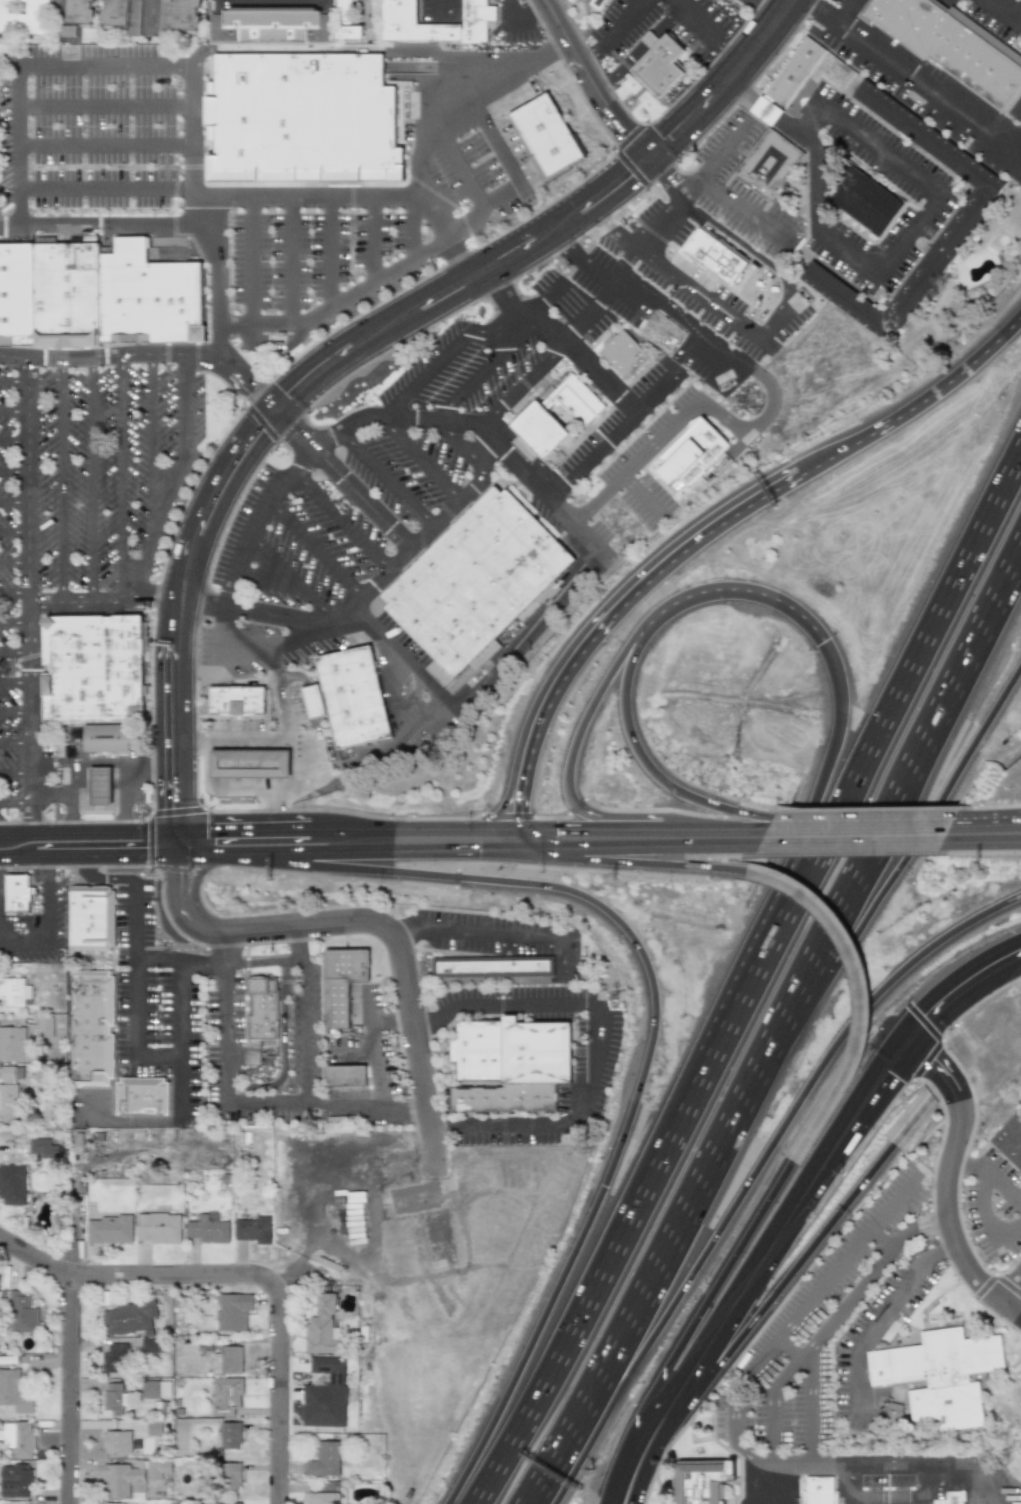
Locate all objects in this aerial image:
road: (274, 0)
building: (602, 4)
road: (523, 8)
road: (1001, 9)
building: (78, 11)
road: (766, 11)
road: (841, 11)
building: (120, 12)
road: (145, 13)
building: (23, 16)
building: (185, 16)
road: (437, 16)
road: (1019, 16)
road: (697, 17)
building: (345, 22)
building: (398, 22)
building: (274, 28)
road: (516, 28)
road: (613, 33)
building: (649, 39)
building: (952, 48)
road: (109, 65)
building: (666, 71)
road: (912, 79)
road: (593, 82)
road: (727, 83)
building: (789, 83)
road: (460, 92)
road: (739, 92)
road: (109, 97)
road: (764, 109)
building: (304, 119)
parking lot: (108, 127)
road: (109, 128)
road: (493, 131)
traffic signals: (627, 132)
building: (547, 135)
traffic signals: (673, 138)
road: (20, 145)
road: (723, 151)
road: (110, 160)
building: (772, 167)
road: (458, 169)
road: (664, 172)
traffic signals: (628, 177)
road: (686, 182)
road: (674, 192)
road: (110, 193)
road: (359, 200)
road: (731, 204)
building: (870, 204)
parking lot: (1, 221)
building: (961, 222)
road: (103, 227)
road: (412, 230)
parking lot: (357, 231)
road: (616, 233)
road: (384, 237)
road: (732, 242)
road: (900, 244)
road: (352, 247)
road: (564, 247)
building: (712, 254)
road: (320, 256)
road: (286, 262)
road: (255, 263)
road: (379, 279)
road: (699, 297)
building: (70, 298)
road: (543, 298)
building: (18, 299)
building: (152, 301)
road: (661, 303)
road: (773, 311)
road: (518, 313)
road: (218, 317)
road: (517, 329)
building: (665, 335)
road: (439, 357)
building: (627, 358)
road: (599, 374)
road: (470, 379)
road: (12, 381)
road: (246, 382)
road: (282, 406)
road: (917, 406)
road: (693, 410)
road: (13, 411)
traffic signals: (277, 412)
road: (394, 419)
building: (536, 420)
road: (610, 432)
road: (150, 436)
road: (13, 441)
road: (485, 447)
road: (461, 450)
building: (688, 459)
road: (423, 460)
road: (518, 462)
road: (13, 471)
road: (121, 478)
road: (172, 478)
road: (386, 478)
road: (90, 479)
road: (343, 480)
road: (61, 481)
road: (644, 498)
road: (13, 500)
parking lot: (83, 501)
road: (253, 517)
road: (338, 522)
road: (14, 529)
road: (312, 549)
road: (14, 562)
road: (291, 575)
road: (267, 579)
building: (480, 586)
road: (745, 589)
road: (14, 592)
road: (29, 593)
road: (106, 600)
road: (261, 608)
road: (553, 609)
road: (610, 615)
road: (15, 621)
road: (246, 643)
road: (15, 650)
road: (404, 659)
building: (91, 666)
road: (293, 674)
road: (15, 681)
road: (310, 699)
building: (236, 700)
building: (312, 702)
building: (358, 703)
road: (15, 712)
road: (315, 724)
road: (586, 724)
road: (288, 728)
road: (242, 740)
road: (186, 741)
road: (16, 742)
building: (108, 743)
road: (643, 752)
road: (314, 756)
road: (124, 757)
road: (205, 764)
building: (249, 764)
road: (16, 771)
road: (304, 782)
road: (251, 785)
building: (99, 786)
road: (124, 791)
road: (69, 792)
road: (50, 800)
road: (16, 801)
traffic signals: (180, 803)
road: (276, 804)
road: (987, 810)
road: (863, 814)
road: (769, 816)
road: (712, 818)
road: (640, 821)
road: (567, 823)
road: (245, 824)
traffic signals: (515, 824)
traffic signals: (208, 825)
road: (152, 826)
road: (412, 826)
road: (62, 827)
road: (528, 836)
road: (17, 837)
road: (181, 840)
traffic signals: (541, 848)
road: (977, 849)
road: (407, 850)
road: (647, 850)
road: (844, 850)
road: (247, 853)
road: (201, 854)
road: (107, 855)
traffic signals: (140, 855)
road: (16, 857)
road: (641, 862)
road: (49, 864)
road: (196, 877)
road: (101, 878)
traffic signals: (182, 879)
road: (853, 881)
building: (17, 891)
road: (49, 908)
road: (771, 915)
building: (92, 916)
road: (378, 926)
road: (405, 929)
road: (510, 932)
road: (854, 934)
road: (295, 943)
road: (24, 945)
road: (223, 948)
road: (261, 960)
road: (178, 961)
road: (302, 961)
building: (495, 966)
road: (135, 968)
building: (342, 981)
road: (756, 987)
building: (14, 991)
road: (959, 992)
road: (860, 995)
road: (514, 1003)
building: (262, 1008)
traffic signals: (935, 1014)
road: (426, 1016)
road: (391, 1021)
building: (44, 1026)
road: (304, 1026)
building: (92, 1028)
road: (223, 1032)
road: (181, 1041)
building: (14, 1043)
road: (281, 1048)
road: (352, 1048)
road: (648, 1051)
road: (158, 1057)
building: (510, 1065)
traffic signals: (934, 1065)
road: (375, 1066)
traffic signals: (889, 1072)
building: (346, 1076)
building: (8, 1090)
building: (141, 1096)
road: (305, 1097)
road: (264, 1104)
road: (367, 1108)
road: (576, 1116)
road: (128, 1120)
road: (444, 1127)
building: (1009, 1141)
building: (42, 1147)
road: (965, 1166)
road: (754, 1175)
building: (13, 1183)
road: (1002, 1183)
road: (947, 1184)
building: (354, 1212)
road: (983, 1217)
road: (788, 1221)
building: (158, 1228)
building: (108, 1230)
building: (207, 1230)
building: (252, 1230)
road: (806, 1252)
road: (133, 1278)
road: (712, 1289)
road: (1011, 1295)
road: (884, 1310)
building: (232, 1312)
building: (21, 1314)
building: (128, 1318)
building: (321, 1327)
building: (150, 1345)
road: (607, 1356)
building: (115, 1358)
building: (227, 1360)
building: (940, 1376)
building: (155, 1389)
road: (71, 1391)
road: (277, 1391)
building: (13, 1392)
road: (807, 1393)
building: (324, 1394)
building: (225, 1396)
building: (111, 1398)
road: (666, 1415)
building: (157, 1428)
building: (229, 1436)
building: (19, 1439)
building: (116, 1442)
road: (742, 1449)
building: (324, 1460)
road: (774, 1462)
road: (814, 1463)
road: (931, 1463)
road: (638, 1464)
building: (156, 1469)
building: (230, 1477)
building: (15, 1481)
building: (123, 1481)
building: (701, 1486)
building: (824, 1491)
road: (913, 1497)
building: (320, 1498)
building: (958, 1498)
building: (113, 1503)
building: (222, 1503)

